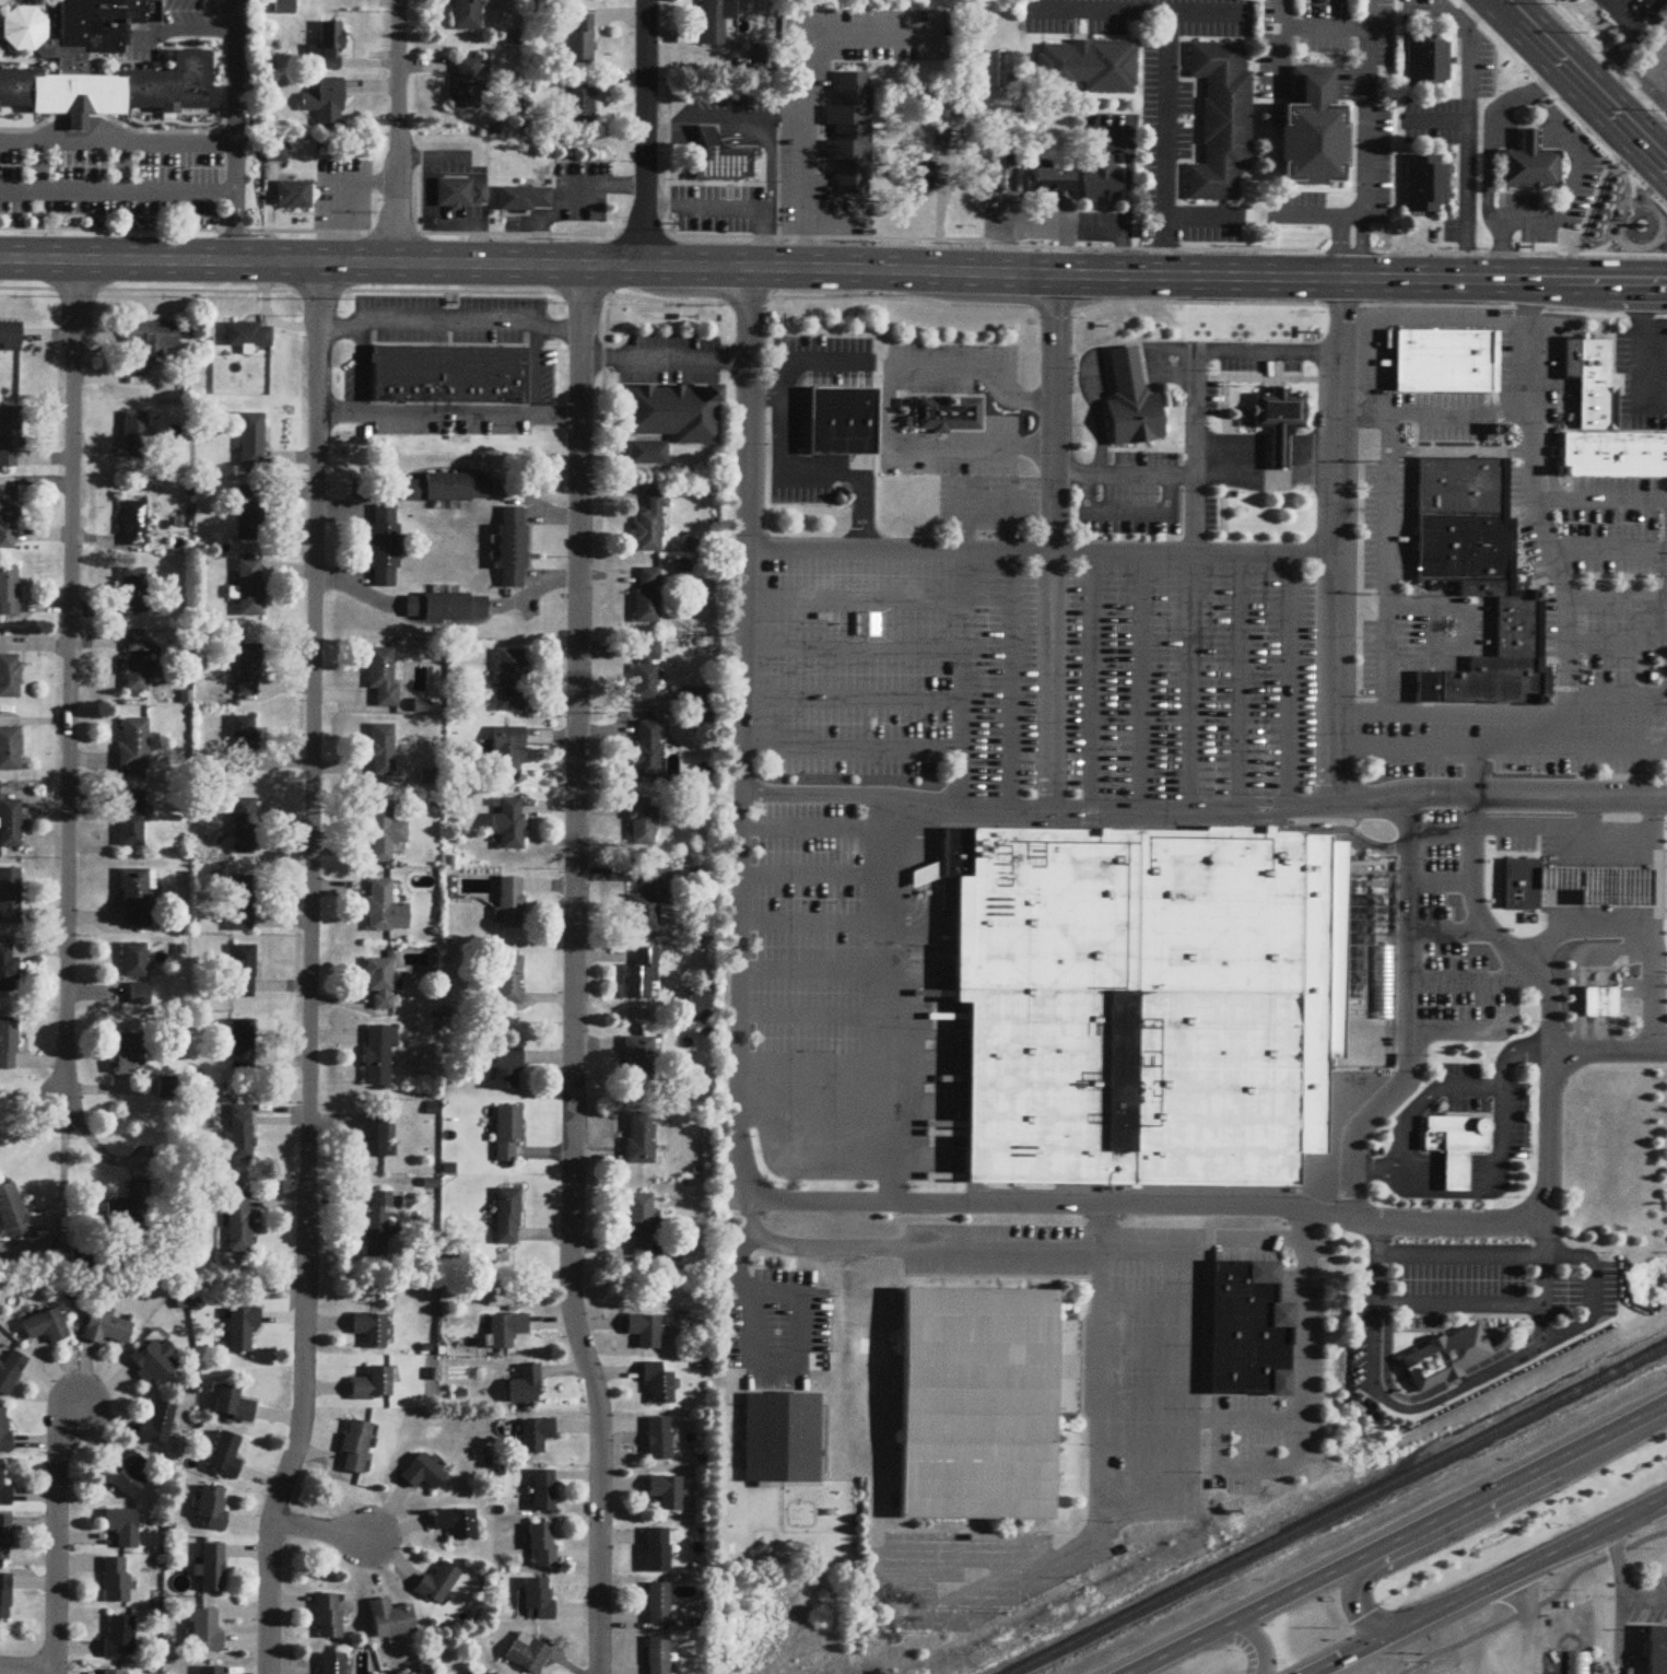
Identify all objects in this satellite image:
building: (1650, 0)
road: (27, 1)
road: (5, 3)
road: (1105, 3)
road: (1467, 7)
building: (285, 8)
road: (1625, 10)
road: (1646, 10)
road: (1454, 12)
road: (1365, 13)
parking lot: (1628, 13)
building: (468, 15)
road: (50, 19)
building: (717, 20)
parking lot: (176, 25)
parking lot: (1454, 25)
building: (21, 26)
road: (1307, 26)
road: (181, 27)
building: (91, 31)
building: (582, 42)
building: (331, 46)
building: (1427, 47)
road: (1613, 54)
road: (126, 59)
road: (97, 60)
road: (1646, 61)
parking lot: (1652, 65)
building: (1090, 66)
road: (1600, 66)
road: (808, 68)
road: (236, 71)
road: (1171, 72)
road: (1548, 79)
road: (1584, 81)
building: (469, 84)
parking lot: (1164, 84)
building: (110, 85)
road: (1569, 97)
road: (1636, 97)
building: (327, 103)
building: (582, 106)
road: (732, 112)
road: (788, 113)
road: (75, 118)
building: (1221, 121)
road: (1492, 121)
building: (1310, 122)
road: (666, 127)
road: (694, 129)
road: (51, 130)
road: (398, 131)
road: (712, 131)
road: (743, 131)
road: (1545, 131)
road: (203, 132)
road: (647, 132)
parking lot: (798, 132)
road: (1502, 132)
road: (34, 133)
building: (850, 133)
road: (20, 140)
road: (82, 141)
road: (157, 142)
parking lot: (1373, 145)
building: (277, 152)
road: (1461, 153)
building: (717, 154)
road: (414, 155)
road: (456, 156)
parking lot: (772, 156)
building: (1525, 160)
road: (1363, 161)
road: (39, 165)
road: (125, 166)
road: (235, 166)
road: (768, 168)
parking lot: (1571, 168)
parking lot: (122, 169)
road: (383, 179)
building: (921, 179)
road: (629, 180)
building: (989, 182)
building: (1053, 182)
building: (1101, 182)
parking lot: (1466, 182)
road: (1122, 183)
road: (341, 184)
building: (1425, 184)
parking lot: (1125, 187)
road: (117, 189)
building: (296, 189)
parking lot: (432, 189)
building: (462, 189)
parking lot: (345, 190)
road: (571, 190)
building: (526, 191)
road: (1559, 196)
parking lot: (567, 197)
building: (1606, 199)
road: (662, 203)
road: (724, 204)
road: (1202, 213)
road: (431, 214)
road: (768, 215)
road: (831, 222)
road: (235, 226)
road: (833, 237)
building: (1648, 239)
road: (483, 243)
road: (803, 244)
road: (543, 245)
road: (768, 245)
road: (1167, 245)
road: (1339, 246)
road: (1363, 246)
road: (1500, 249)
road: (1120, 251)
road: (1464, 256)
road: (833, 267)
road: (1534, 295)
road: (1652, 295)
road: (834, 297)
road: (338, 327)
road: (450, 329)
parking lot: (462, 329)
road: (562, 330)
building: (11, 335)
building: (249, 336)
road: (364, 337)
building: (150, 344)
parking lot: (1535, 349)
road: (1534, 352)
road: (1225, 354)
road: (1329, 354)
road: (601, 360)
road: (672, 360)
road: (735, 360)
parking lot: (672, 361)
parking lot: (1375, 361)
building: (1446, 362)
road: (1190, 364)
road: (1652, 366)
road: (536, 367)
parking lot: (1240, 368)
building: (1123, 371)
parking lot: (1639, 371)
building: (450, 374)
road: (1092, 377)
road: (759, 395)
road: (776, 395)
road: (1036, 399)
road: (748, 401)
road: (783, 402)
road: (363, 405)
road: (888, 405)
road: (1056, 408)
parking lot: (948, 410)
parking lot: (809, 411)
building: (1280, 411)
road: (1363, 411)
road: (1444, 411)
road: (1516, 411)
road: (536, 412)
building: (951, 413)
building: (1130, 418)
parking lot: (1451, 418)
road: (470, 419)
building: (669, 421)
building: (843, 422)
road: (1533, 425)
building: (1607, 430)
building: (137, 436)
building: (10, 437)
road: (1388, 437)
building: (253, 441)
road: (1036, 449)
road: (1194, 457)
road: (1097, 470)
road: (1129, 476)
road: (1187, 476)
road: (1067, 477)
building: (449, 489)
road: (972, 493)
road: (1047, 493)
parking lot: (1131, 494)
road: (862, 495)
road: (1578, 501)
road: (538, 504)
parking lot: (989, 505)
road: (356, 506)
road: (1127, 512)
building: (250, 514)
building: (9, 515)
road: (1194, 516)
parking lot: (1198, 516)
building: (651, 523)
building: (134, 525)
road: (1194, 538)
road: (1337, 543)
road: (862, 545)
building: (385, 547)
building: (514, 548)
road: (1608, 551)
road: (1031, 552)
building: (1479, 575)
building: (250, 588)
road: (539, 588)
road: (355, 589)
road: (1386, 589)
building: (10, 592)
building: (134, 592)
building: (647, 596)
road: (1617, 600)
road: (854, 601)
building: (447, 608)
parking lot: (1429, 627)
road: (1434, 628)
road: (1465, 636)
road: (1617, 646)
road: (1566, 648)
road: (853, 651)
road: (1012, 654)
road: (742, 655)
building: (138, 665)
building: (248, 670)
building: (647, 671)
building: (384, 676)
building: (10, 677)
parking lot: (1036, 677)
road: (1053, 679)
road: (1194, 679)
building: (510, 681)
road: (69, 682)
road: (1290, 682)
road: (963, 683)
road: (1092, 684)
road: (1140, 684)
road: (1240, 684)
building: (701, 699)
road: (853, 700)
road: (1349, 715)
road: (1464, 715)
road: (1566, 726)
building: (244, 742)
building: (134, 745)
road: (1348, 748)
road: (852, 749)
road: (1456, 749)
building: (10, 750)
building: (647, 750)
road: (1609, 750)
building: (381, 751)
building: (508, 756)
road: (1552, 773)
road: (740, 783)
road: (844, 793)
road: (1489, 796)
road: (1408, 806)
road: (1588, 813)
road: (1656, 815)
road: (1129, 816)
building: (132, 820)
building: (508, 824)
building: (643, 824)
building: (10, 826)
building: (245, 828)
road: (811, 829)
road: (1337, 831)
road: (1559, 832)
building: (385, 835)
road: (1441, 836)
road: (1598, 847)
road: (1630, 847)
road: (811, 876)
building: (1519, 878)
road: (1551, 878)
road: (1657, 878)
building: (1587, 879)
road: (1440, 885)
building: (1625, 885)
building: (137, 897)
building: (10, 898)
building: (646, 903)
building: (510, 904)
building: (243, 905)
road: (1476, 905)
building: (386, 910)
road: (1599, 911)
road: (1630, 911)
road: (811, 921)
road: (1604, 925)
road: (1408, 929)
road: (1453, 934)
parking lot: (1444, 945)
road: (1613, 949)
road: (1551, 953)
building: (134, 962)
road: (310, 970)
road: (812, 970)
road: (575, 971)
building: (243, 973)
building: (8, 974)
road: (1515, 974)
building: (644, 976)
building: (510, 980)
parking lot: (814, 982)
road: (1658, 986)
building: (380, 987)
building: (140, 996)
building: (1599, 996)
road: (1601, 996)
road: (883, 998)
building: (1150, 1003)
road: (812, 1004)
road: (1511, 1006)
road: (1550, 1016)
road: (1601, 1030)
building: (9, 1044)
building: (243, 1045)
road: (1517, 1052)
building: (130, 1055)
building: (379, 1055)
road: (814, 1057)
building: (641, 1064)
road: (1616, 1065)
building: (508, 1070)
road: (1503, 1084)
road: (1503, 1093)
road: (814, 1103)
road: (1424, 1103)
parking lot: (1489, 1105)
road: (1364, 1126)
building: (242, 1135)
building: (508, 1135)
building: (641, 1139)
building: (375, 1140)
road: (835, 1142)
road: (1408, 1145)
building: (1455, 1146)
road: (1397, 1172)
road: (1492, 1172)
road: (1089, 1203)
building: (131, 1209)
building: (13, 1214)
road: (1103, 1216)
building: (508, 1218)
building: (240, 1225)
building: (641, 1227)
building: (377, 1229)
road: (1545, 1230)
road: (1376, 1234)
road: (1290, 1243)
road: (1252, 1244)
parking lot: (1246, 1246)
road: (1302, 1246)
road: (807, 1249)
road: (1540, 1257)
road: (1091, 1264)
road: (740, 1267)
road: (1376, 1274)
parking lot: (1477, 1300)
road: (1148, 1302)
road: (1487, 1302)
road: (1543, 1323)
parking lot: (786, 1324)
building: (46, 1327)
building: (244, 1330)
building: (107, 1331)
building: (374, 1331)
building: (508, 1331)
building: (647, 1332)
building: (1252, 1332)
road: (1375, 1343)
road: (1148, 1351)
building: (1443, 1355)
road: (809, 1358)
building: (155, 1361)
road: (1505, 1363)
road: (1102, 1366)
building: (10, 1373)
building: (661, 1385)
building: (376, 1386)
building: (528, 1386)
road: (1299, 1394)
road: (1147, 1398)
building: (986, 1403)
building: (235, 1405)
road: (1090, 1406)
road: (1419, 1406)
parking lot: (1275, 1412)
railway: (1536, 1412)
road: (1197, 1421)
road: (1208, 1421)
building: (159, 1427)
building: (5, 1431)
building: (538, 1436)
building: (785, 1439)
building: (661, 1440)
road: (1147, 1447)
building: (359, 1448)
building: (227, 1458)
road: (1255, 1470)
parking lot: (1146, 1471)
building: (425, 1475)
building: (130, 1477)
building: (4, 1490)
building: (547, 1492)
building: (669, 1494)
road: (1188, 1506)
building: (215, 1508)
building: (458, 1524)
building: (125, 1529)
road: (1456, 1530)
road: (320, 1533)
building: (5, 1538)
road: (1397, 1538)
road: (58, 1540)
building: (545, 1547)
building: (660, 1552)
road: (1615, 1558)
building: (214, 1569)
railway: (1207, 1576)
building: (118, 1582)
building: (441, 1585)
road: (1488, 1585)
road: (1501, 1593)
road: (1619, 1595)
building: (5, 1597)
building: (541, 1601)
road: (1643, 1602)
building: (660, 1605)
parking lot: (1641, 1606)
road: (1618, 1615)
building: (330, 1618)
building: (394, 1622)
building: (208, 1631)
parking lot: (1508, 1632)
road: (1517, 1637)
building: (121, 1639)
road: (1258, 1640)
road: (1618, 1651)
building: (1658, 1651)
building: (530, 1655)
building: (659, 1657)
building: (333, 1664)
road: (27, 1670)
building: (1455, 1670)
building: (211, 1672)
building: (114, 1673)
building: (494, 1673)

